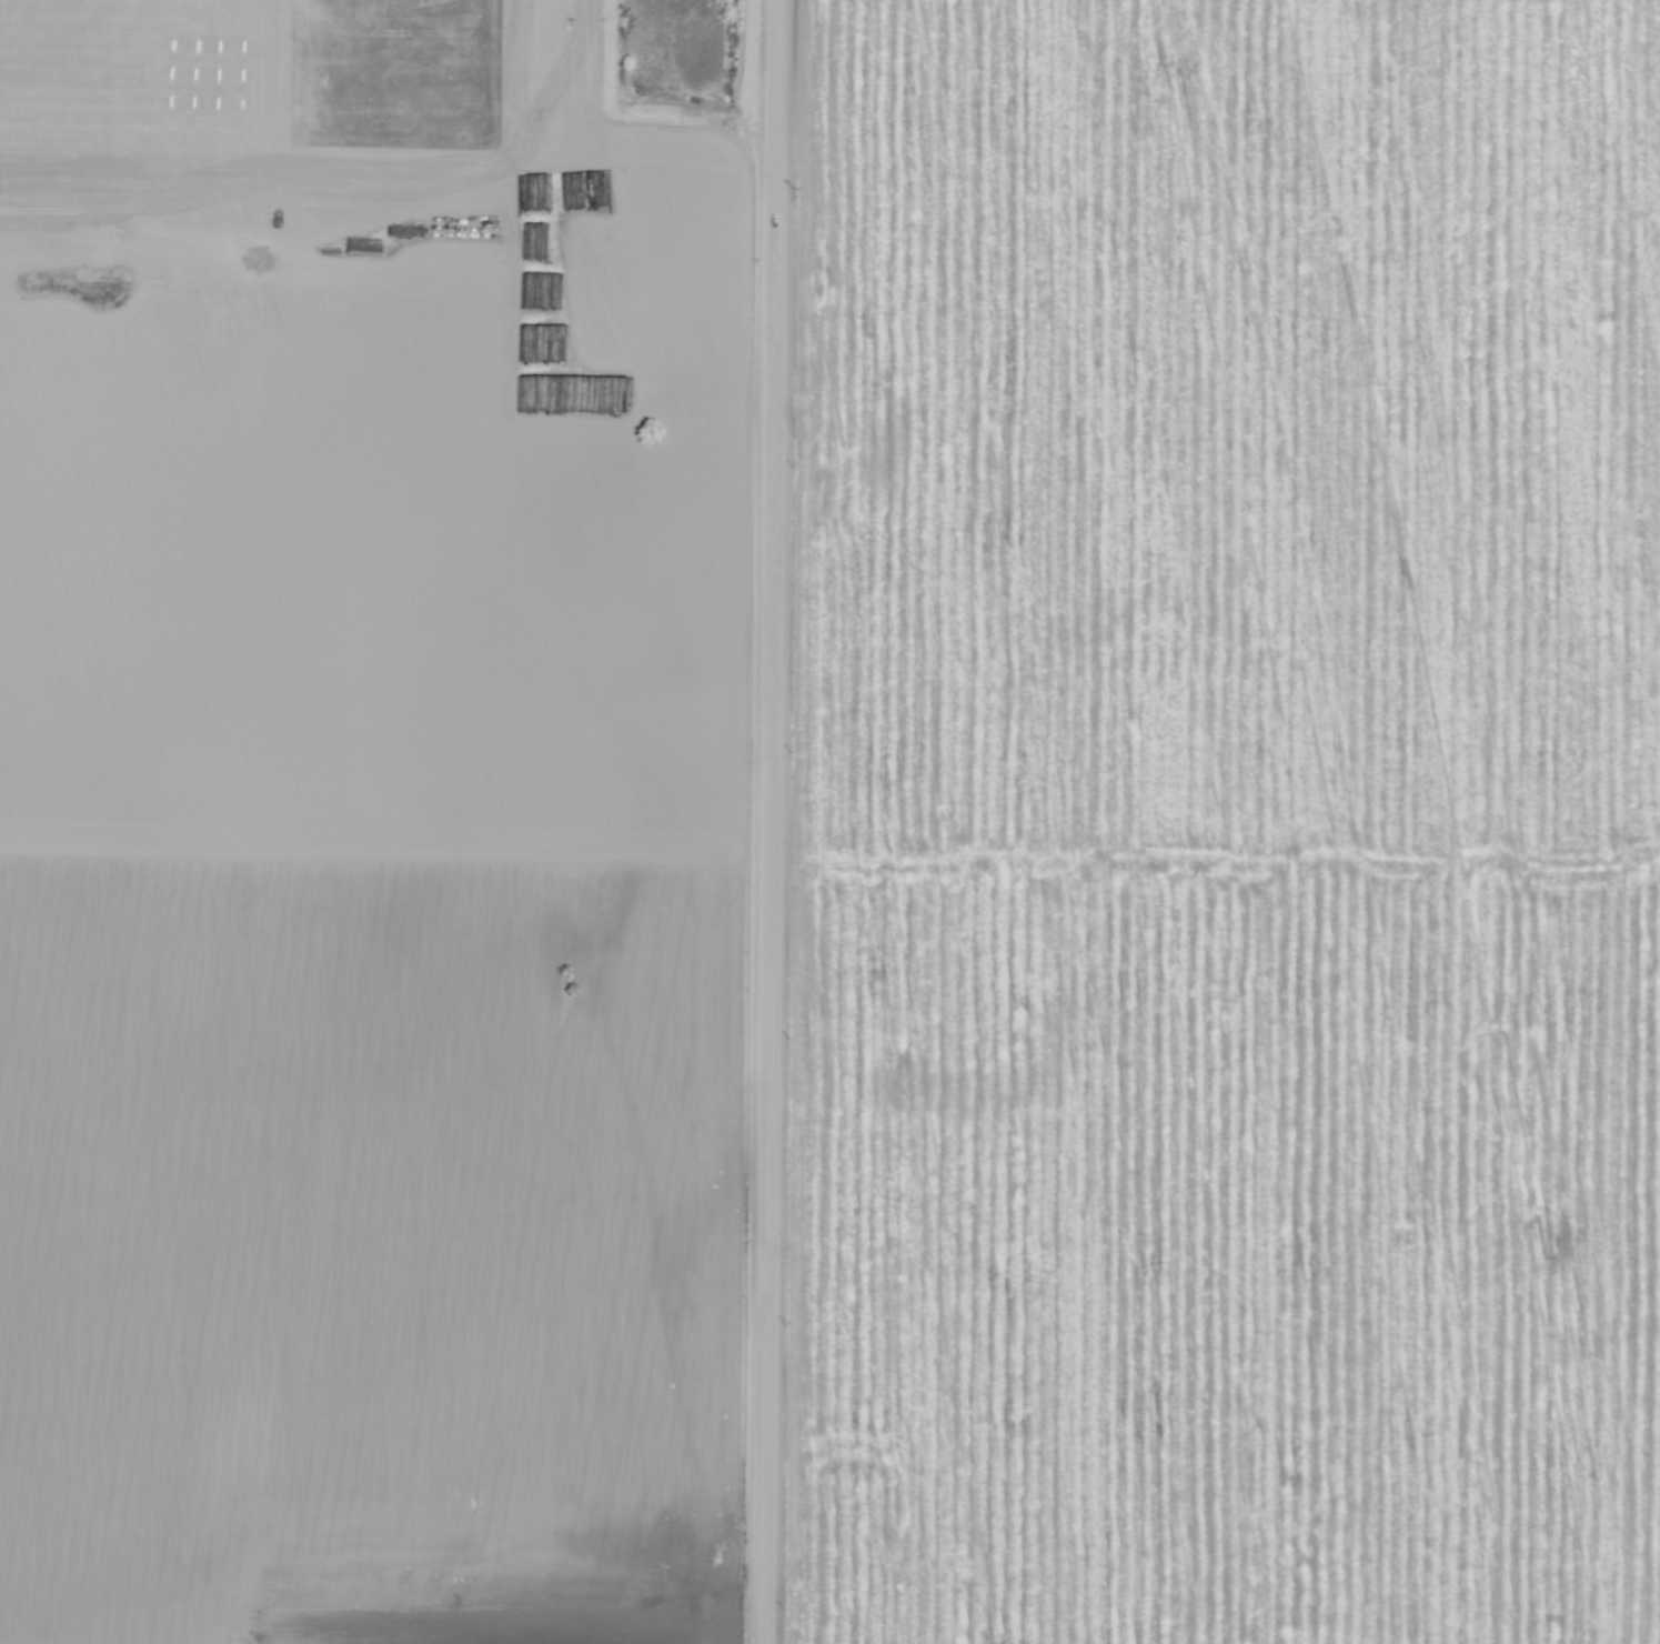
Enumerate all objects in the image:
crop: (403, 408)
road: (772, 822)
crop: (391, 1227)

